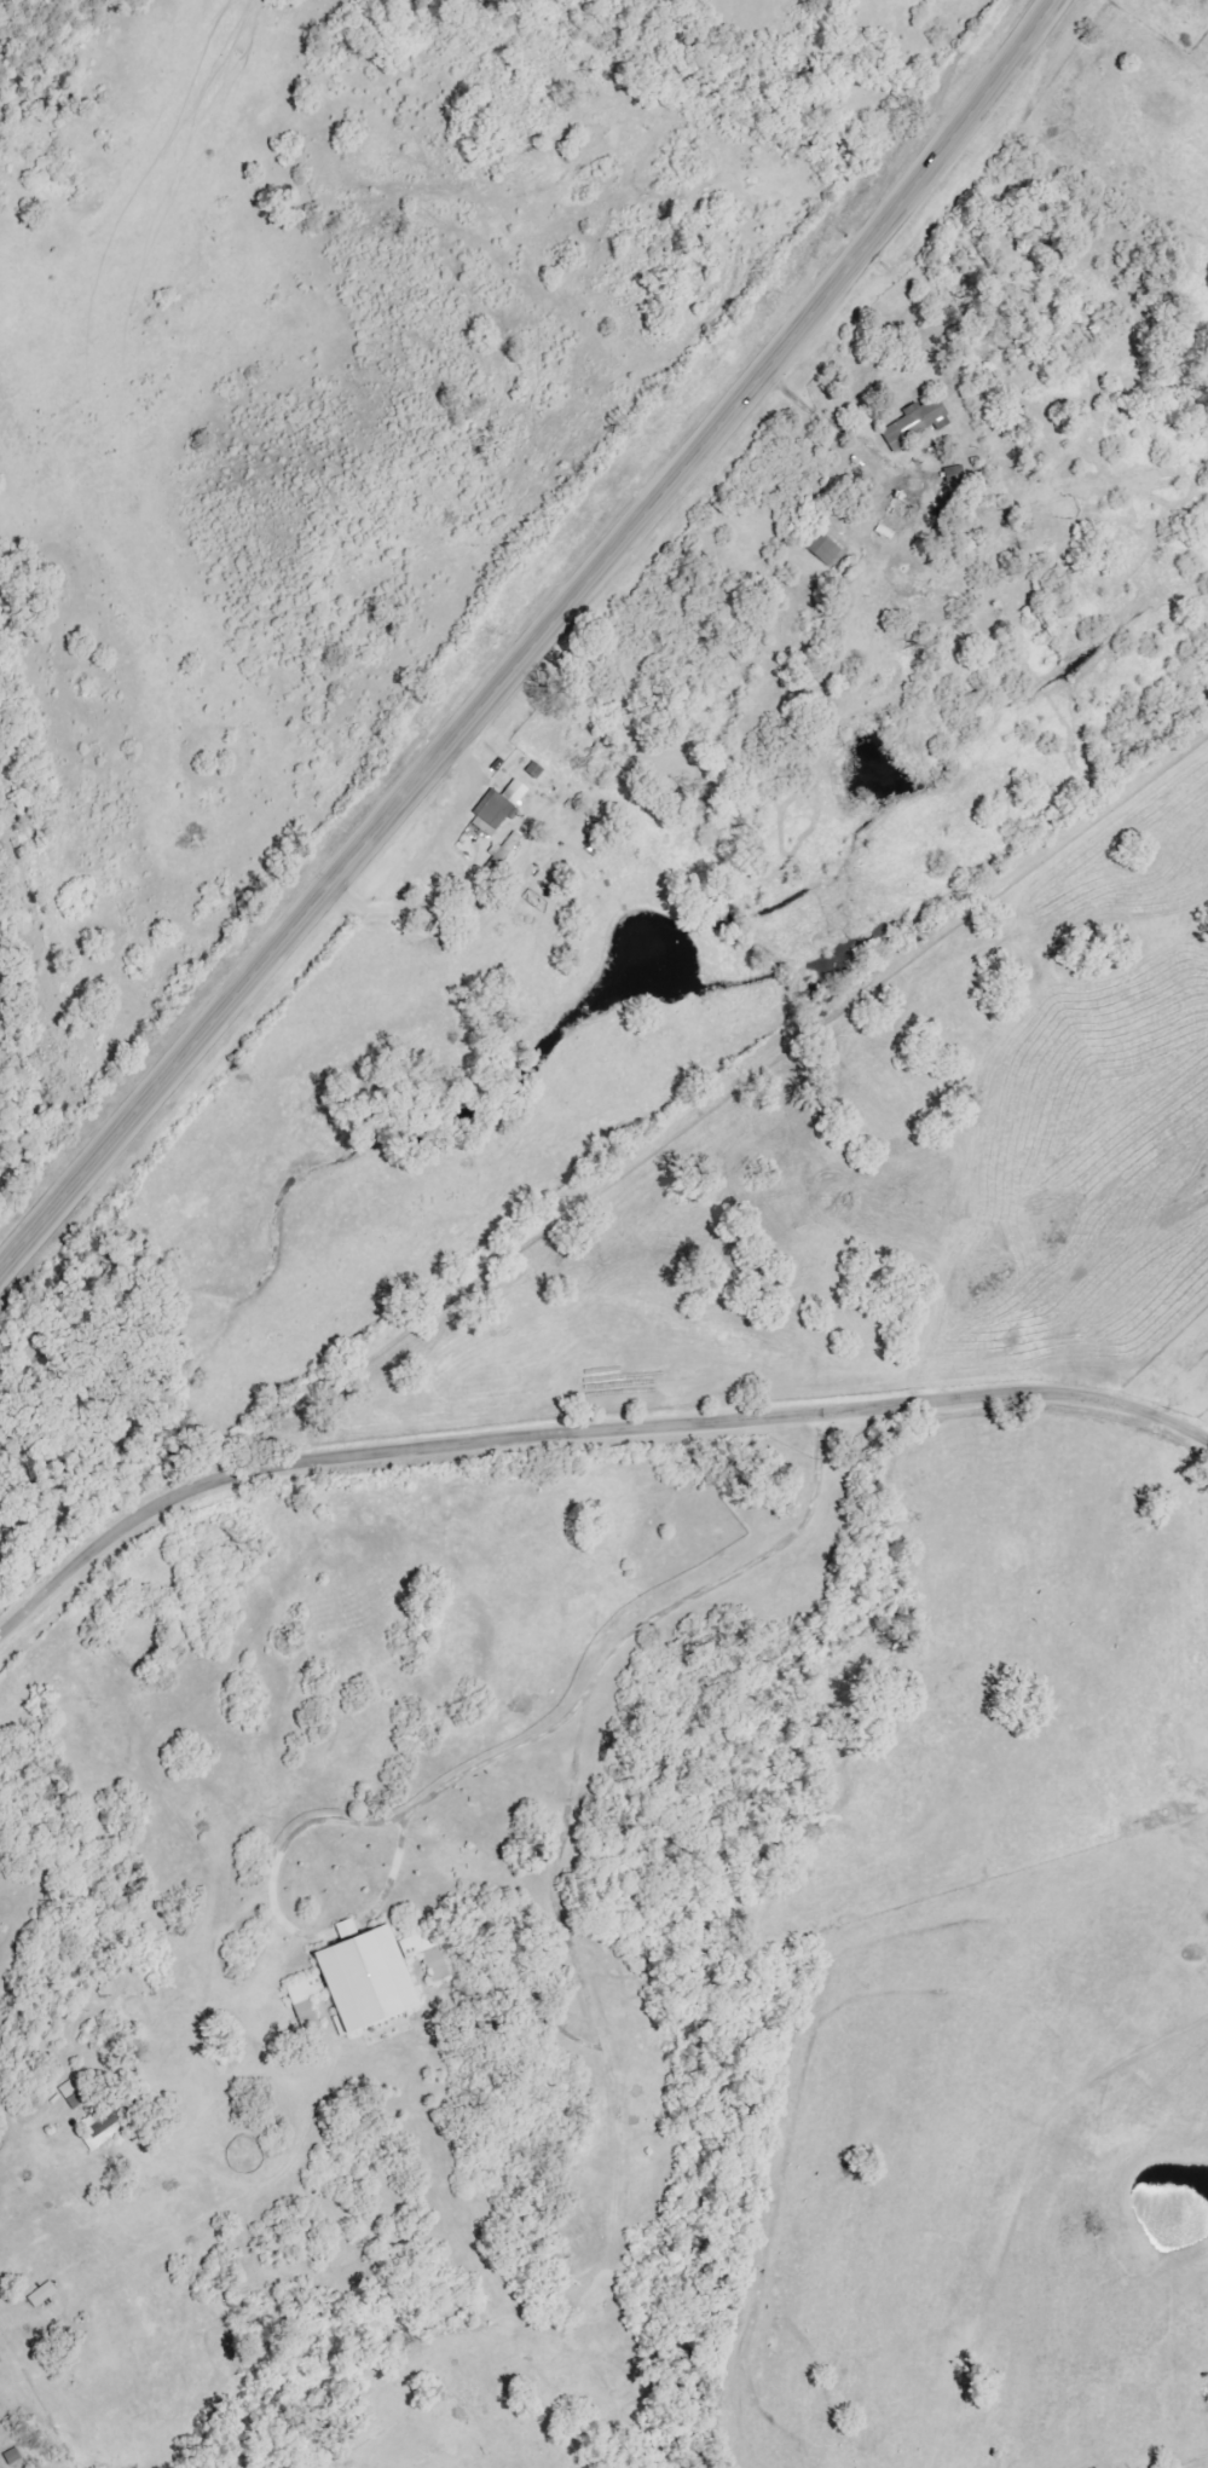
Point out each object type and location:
building: (918, 422)
building: (825, 548)
road: (532, 643)
building: (498, 808)
building: (509, 845)
road: (578, 1434)
road: (590, 1703)
building: (427, 1954)
building: (368, 1978)
building: (306, 1995)
building: (105, 2129)

